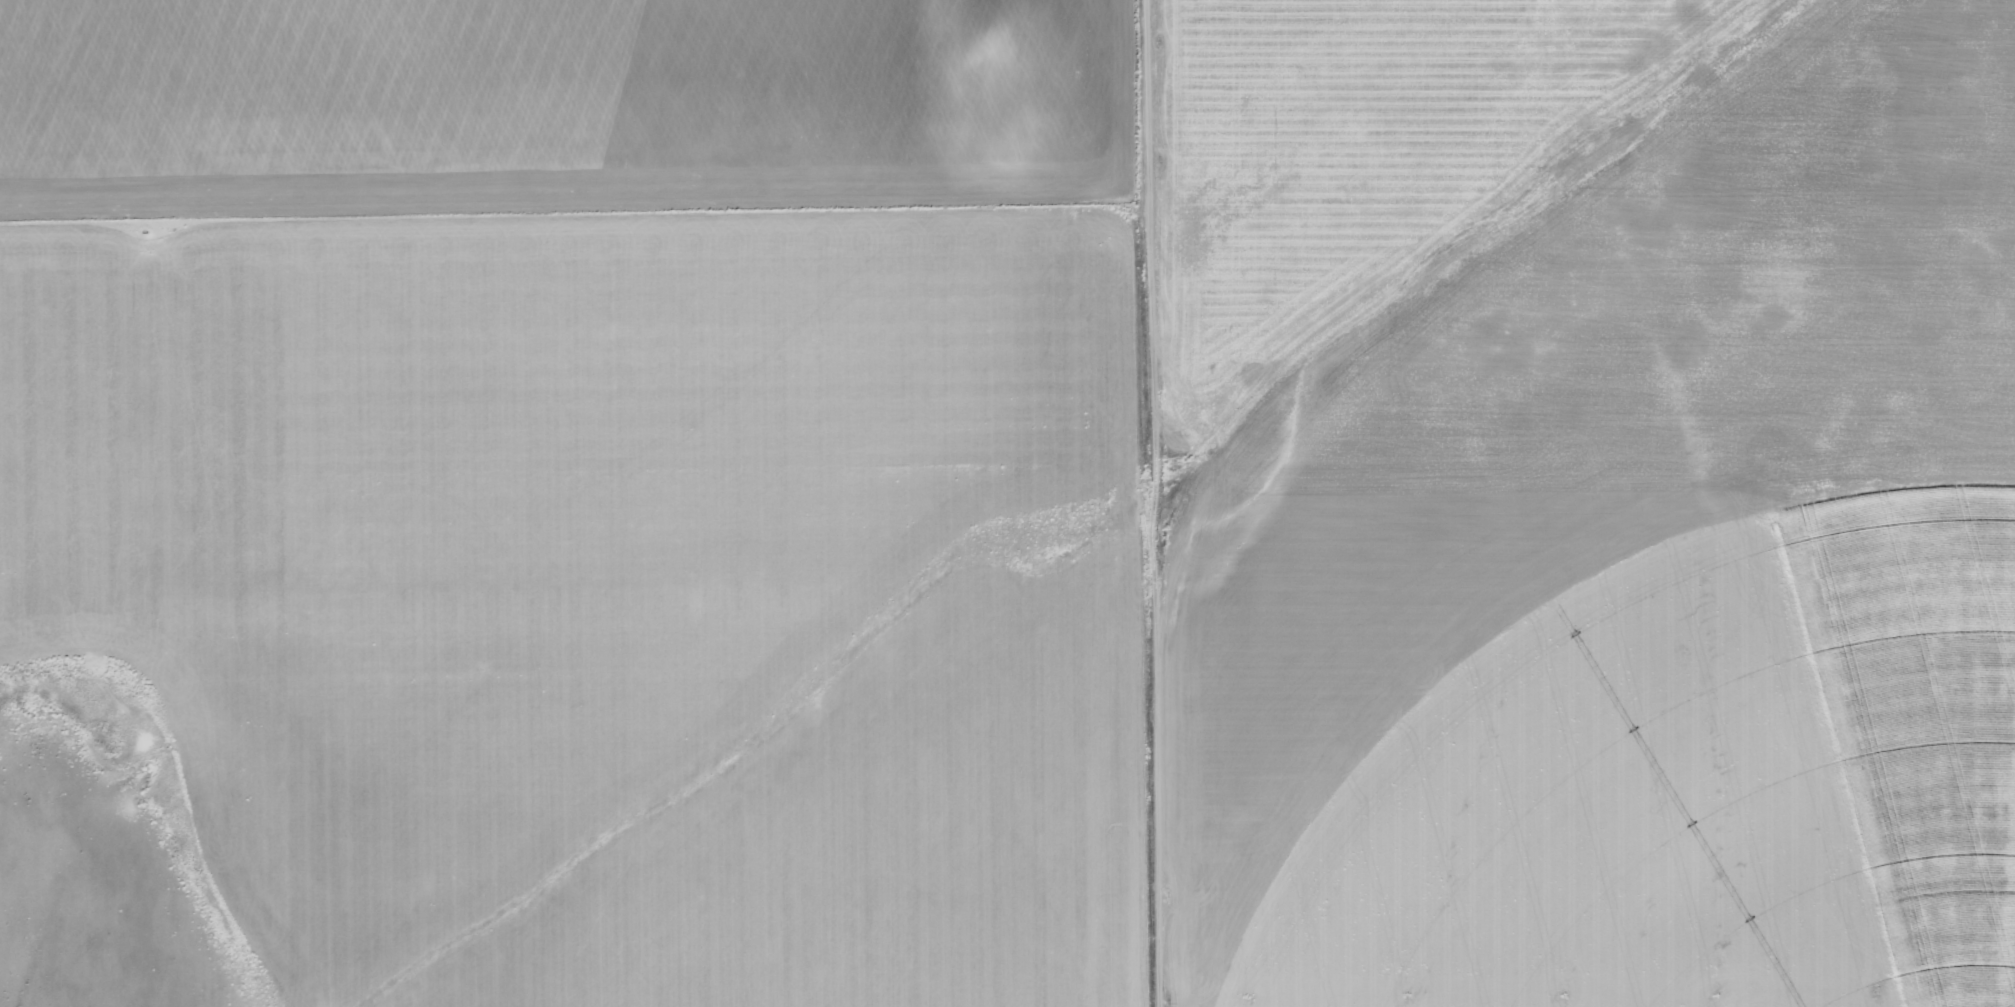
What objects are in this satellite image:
road: (1148, 503)
road: (1582, 522)

